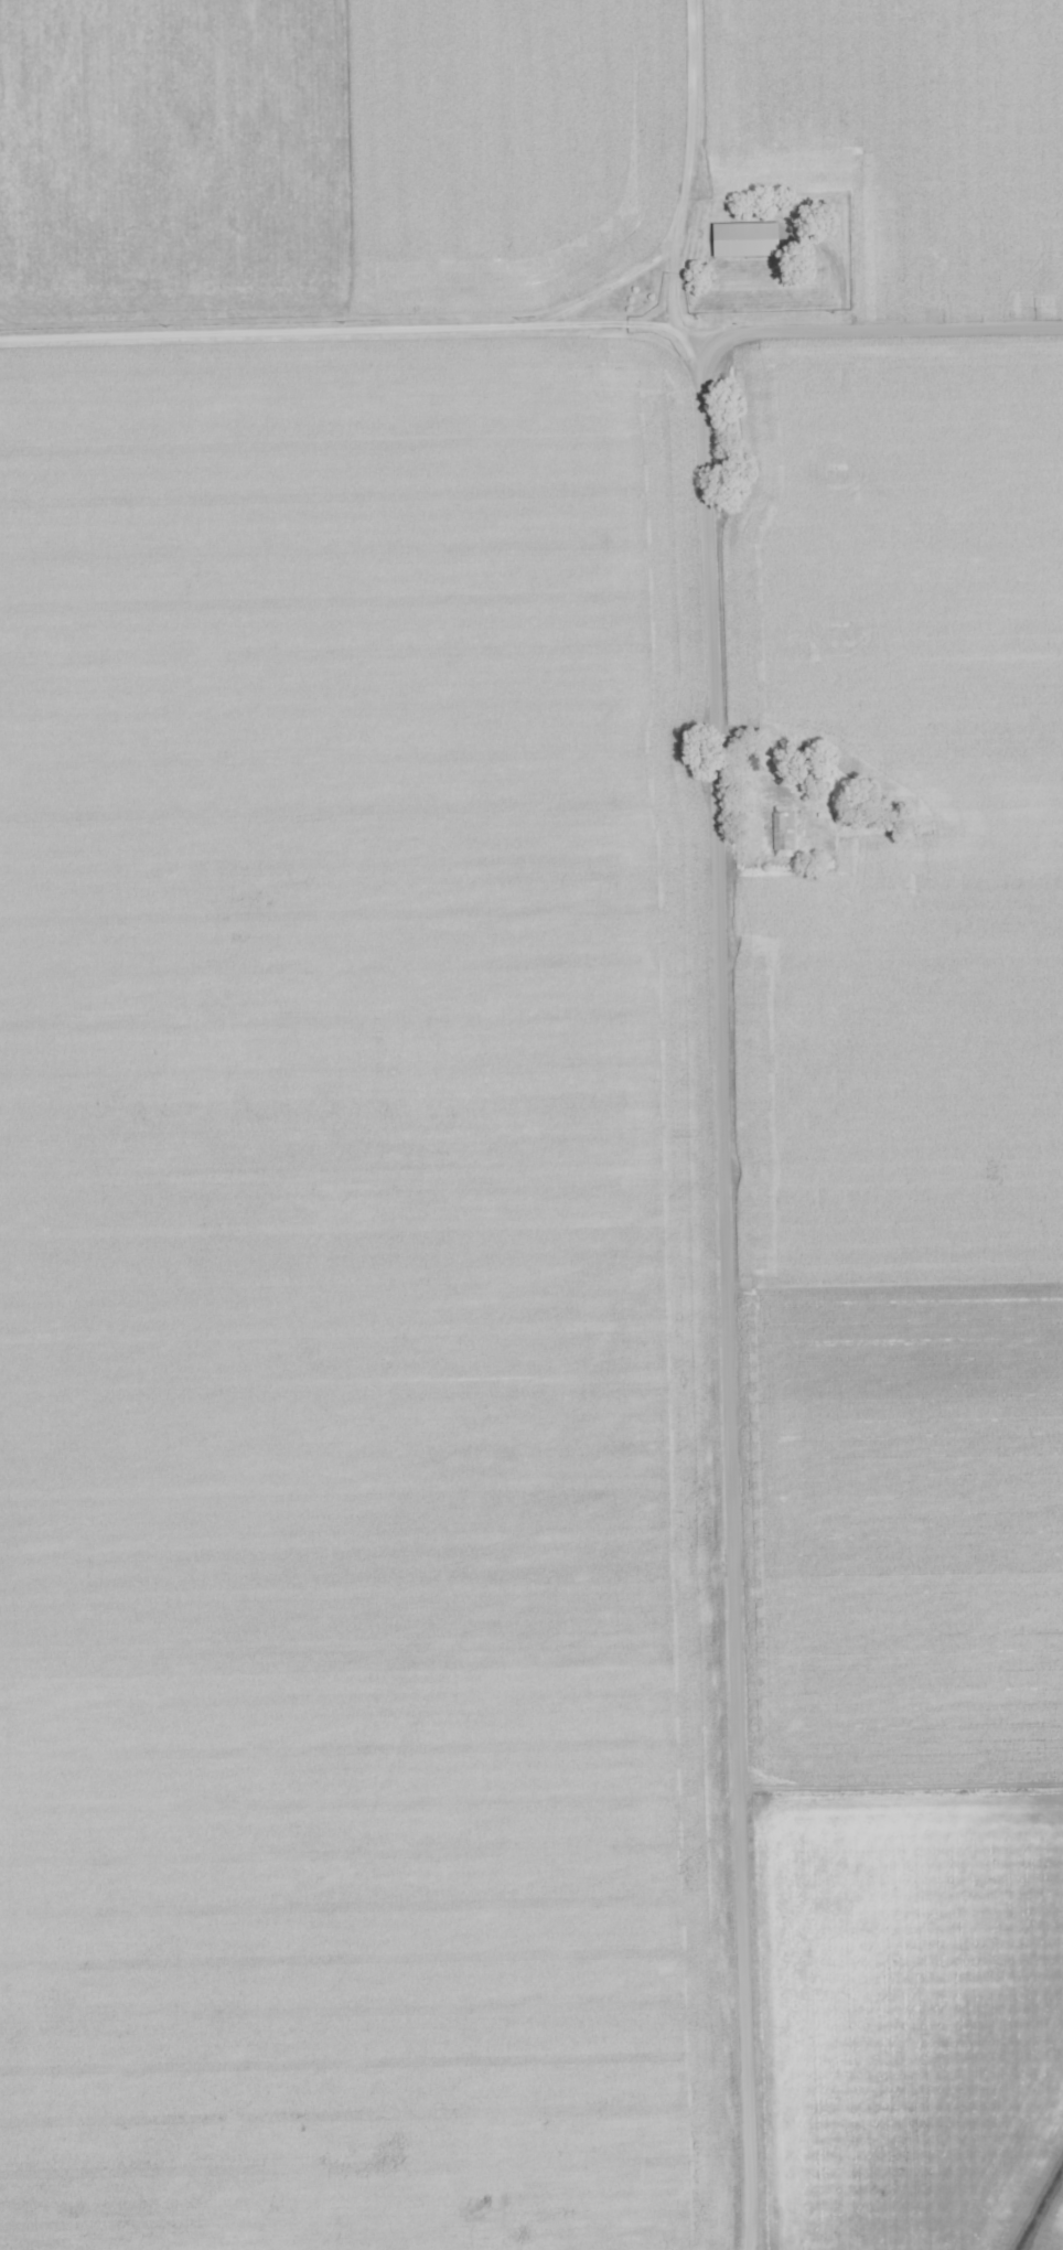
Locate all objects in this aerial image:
road: (690, 159)
road: (472, 319)
road: (110, 326)
building: (748, 761)
building: (781, 832)
road: (727, 1117)
petroleum well: (474, 2204)

